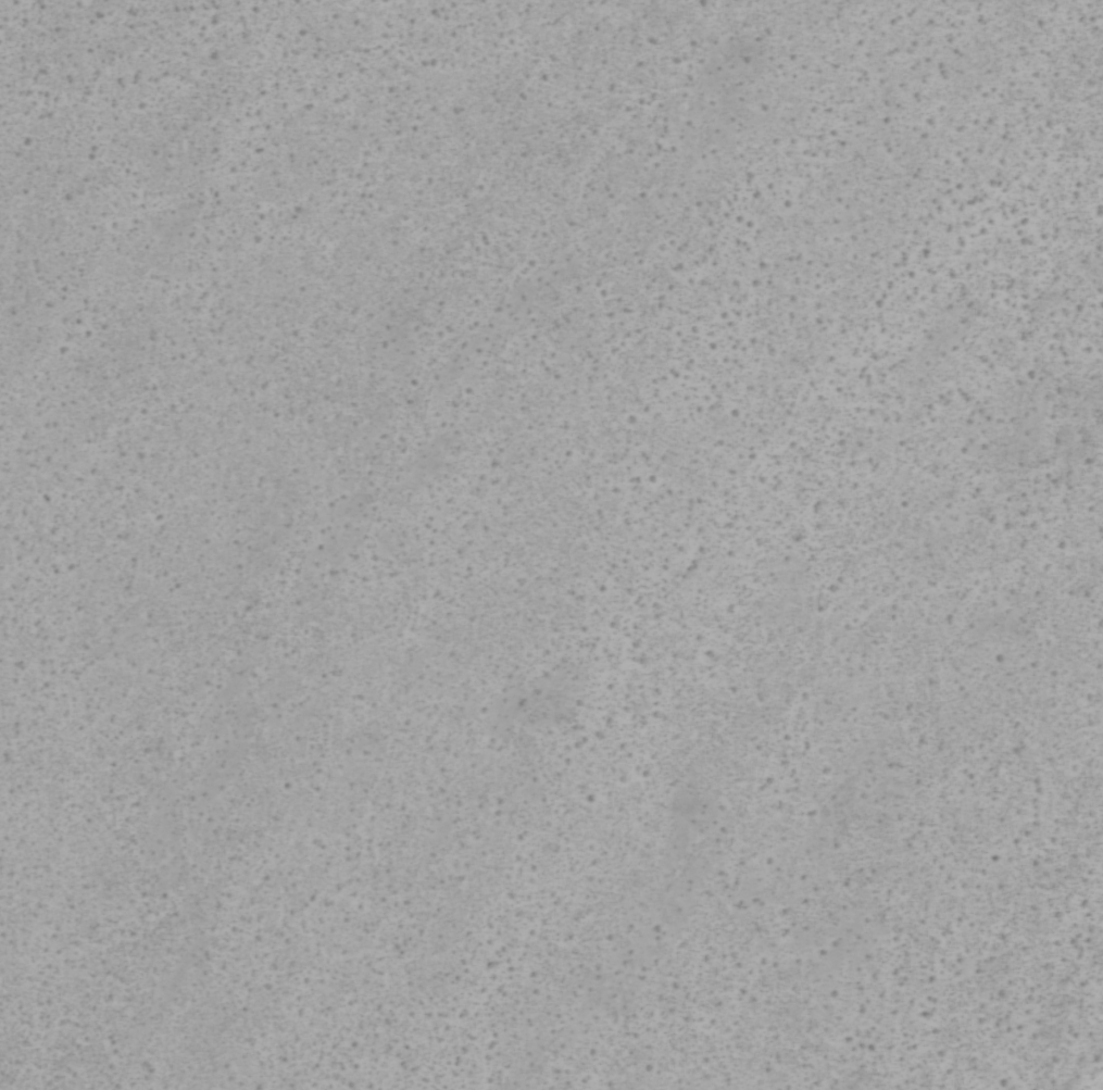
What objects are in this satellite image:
airport: (551, 544)

